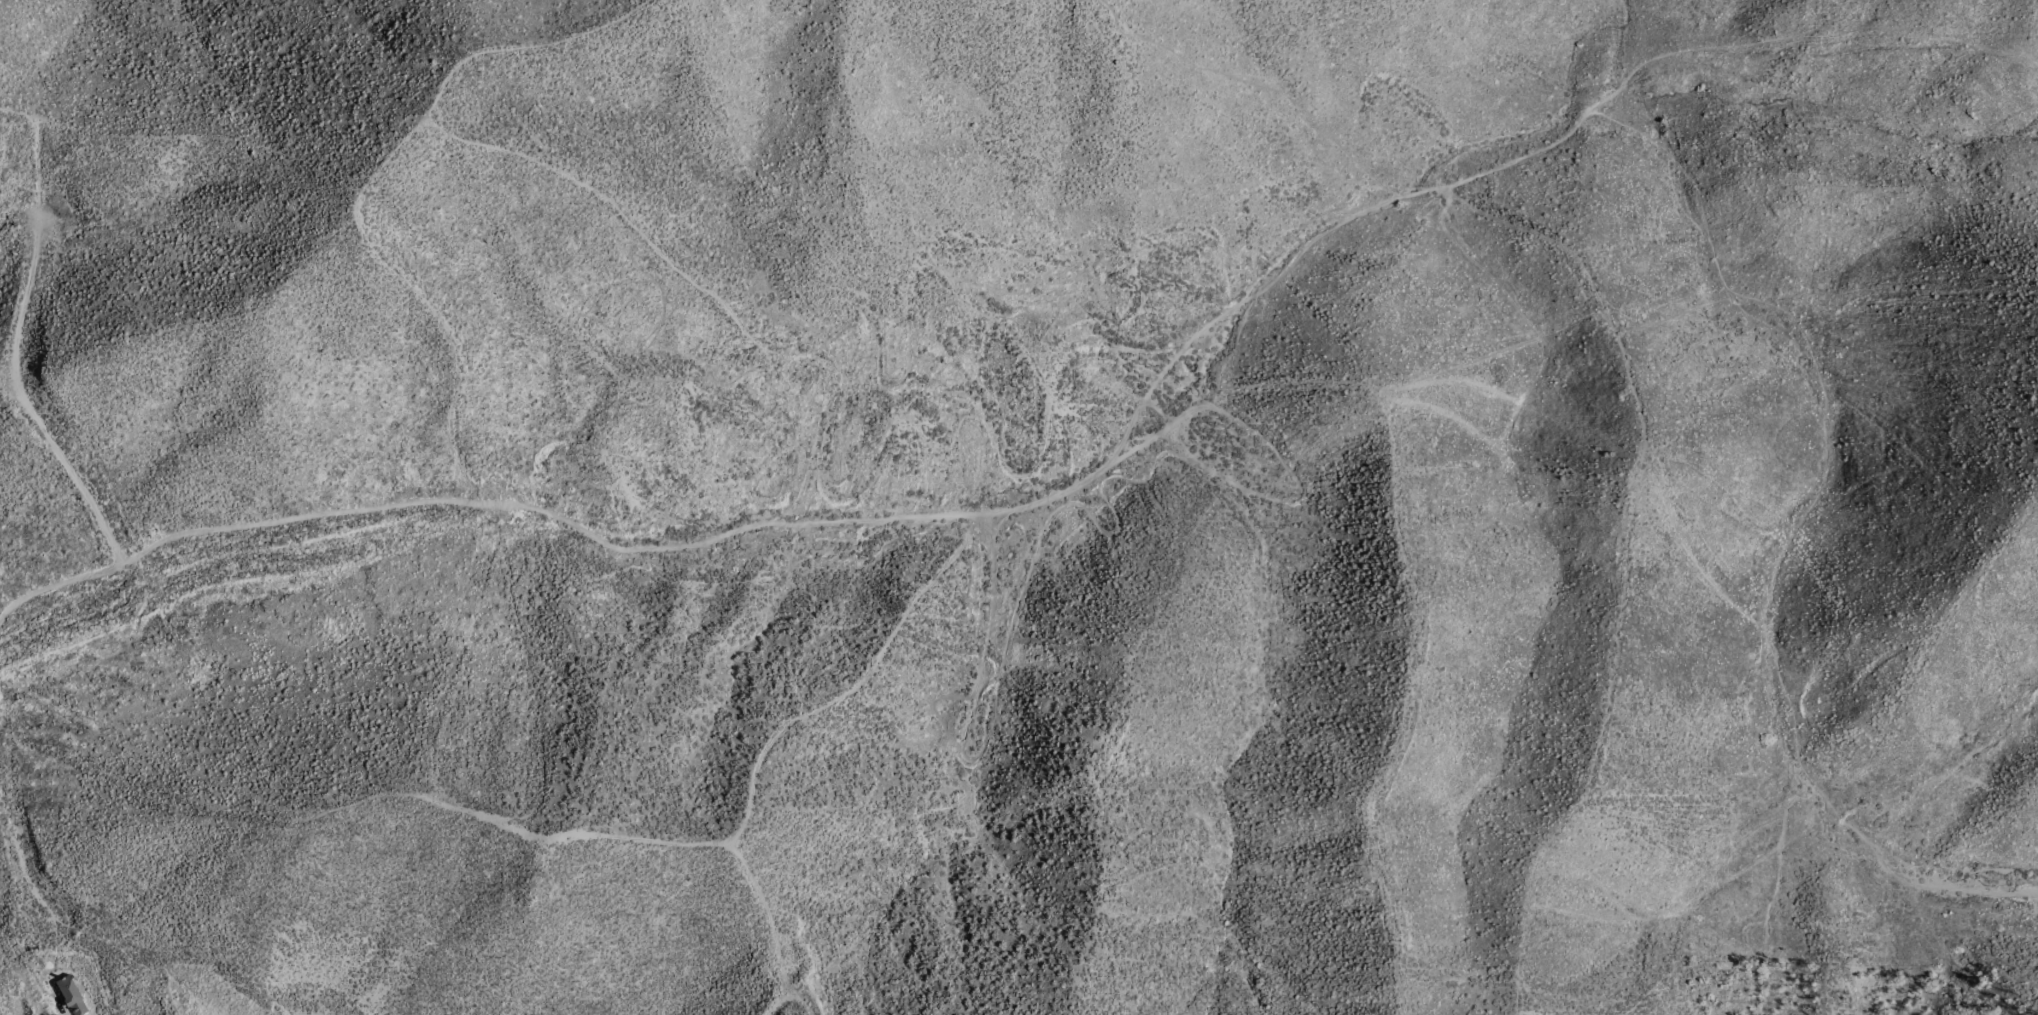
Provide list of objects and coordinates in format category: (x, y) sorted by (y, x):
building: (71, 996)

